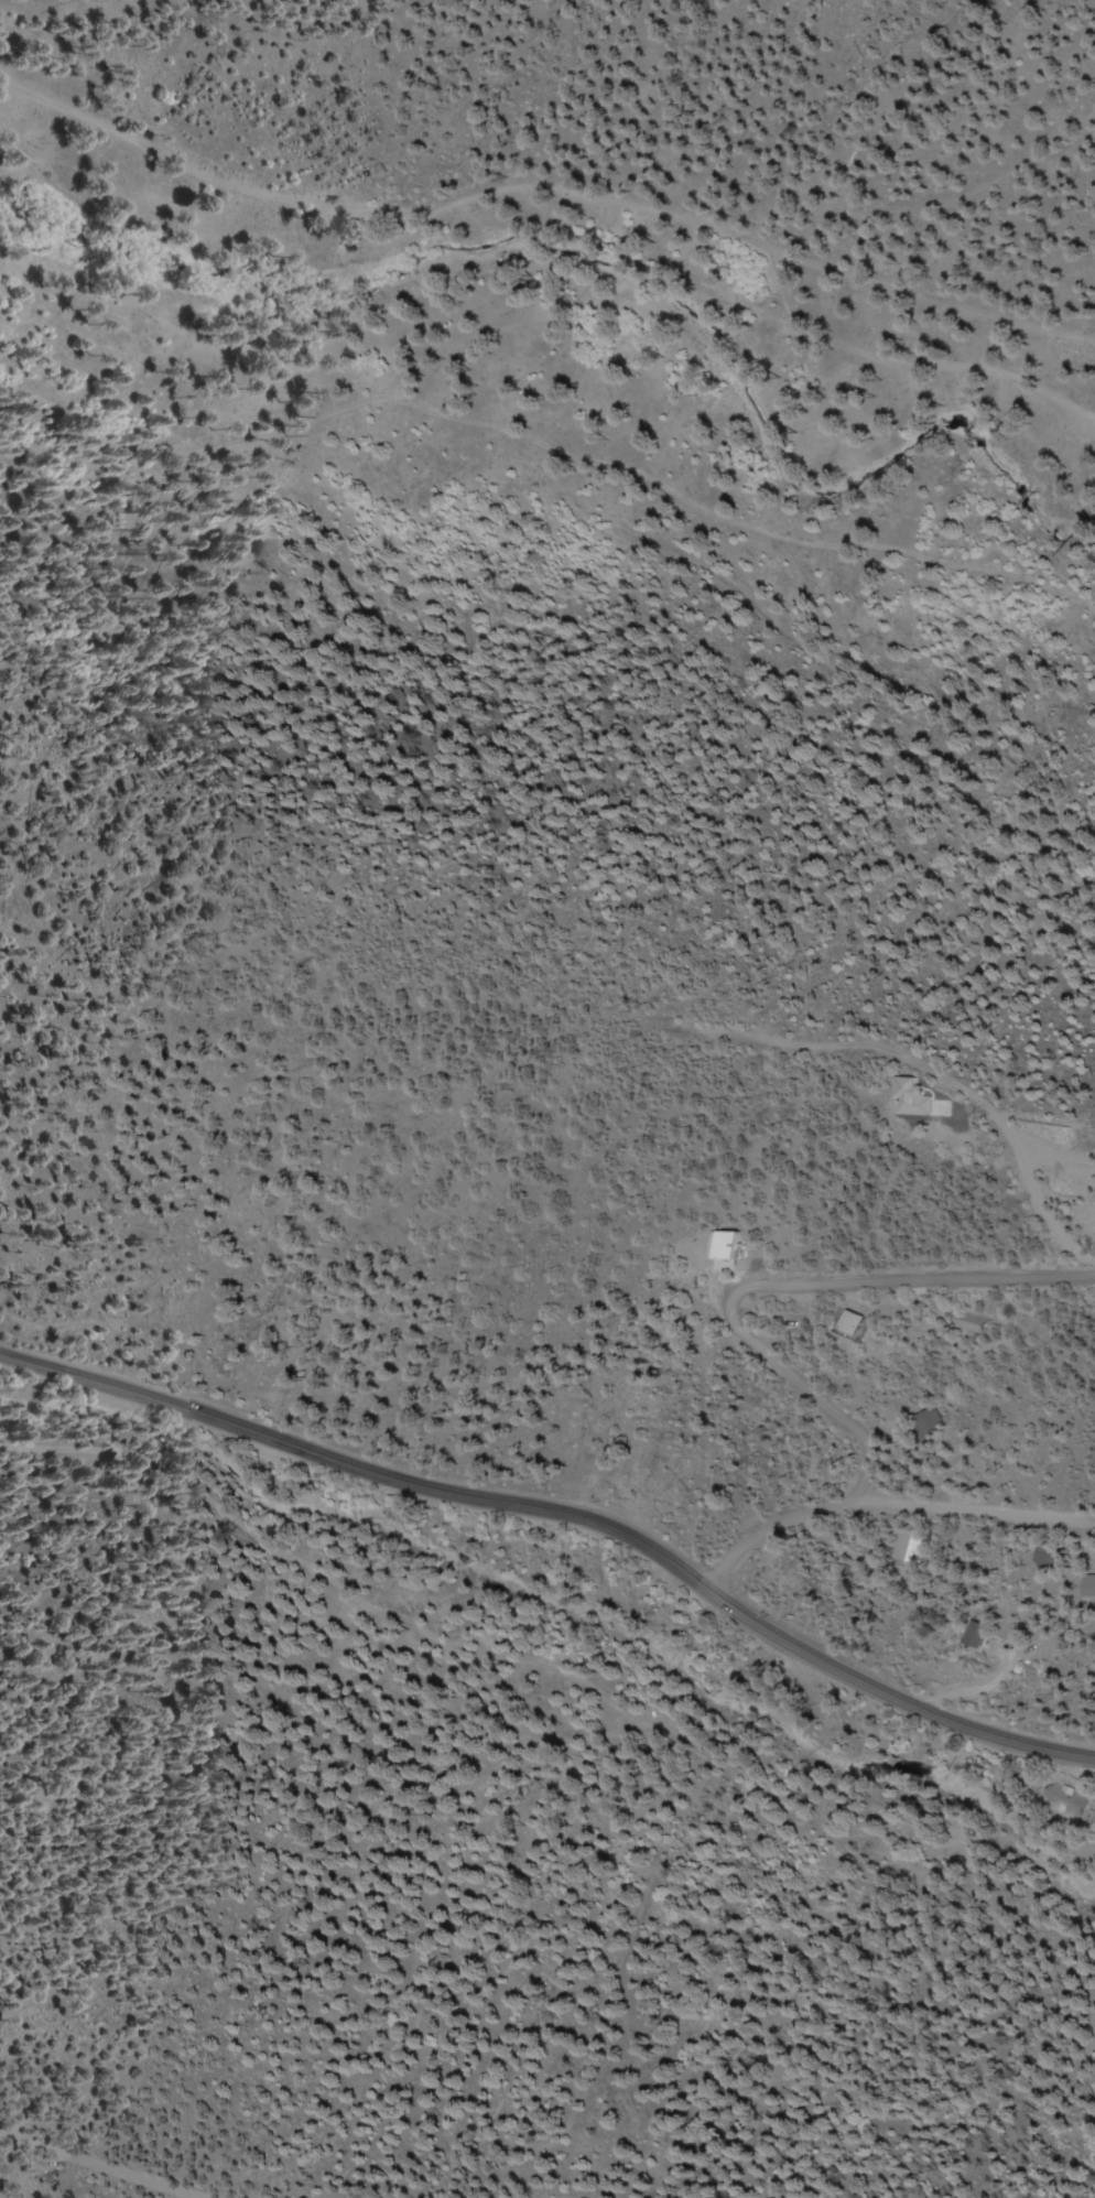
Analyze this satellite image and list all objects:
road: (877, 1044)
building: (726, 1248)
road: (791, 1288)
building: (857, 1322)
building: (972, 1327)
road: (980, 1515)
road: (565, 1518)
road: (777, 1525)
building: (913, 1548)
building: (1093, 1588)
building: (982, 1634)
building: (1075, 1806)
road: (104, 2162)

